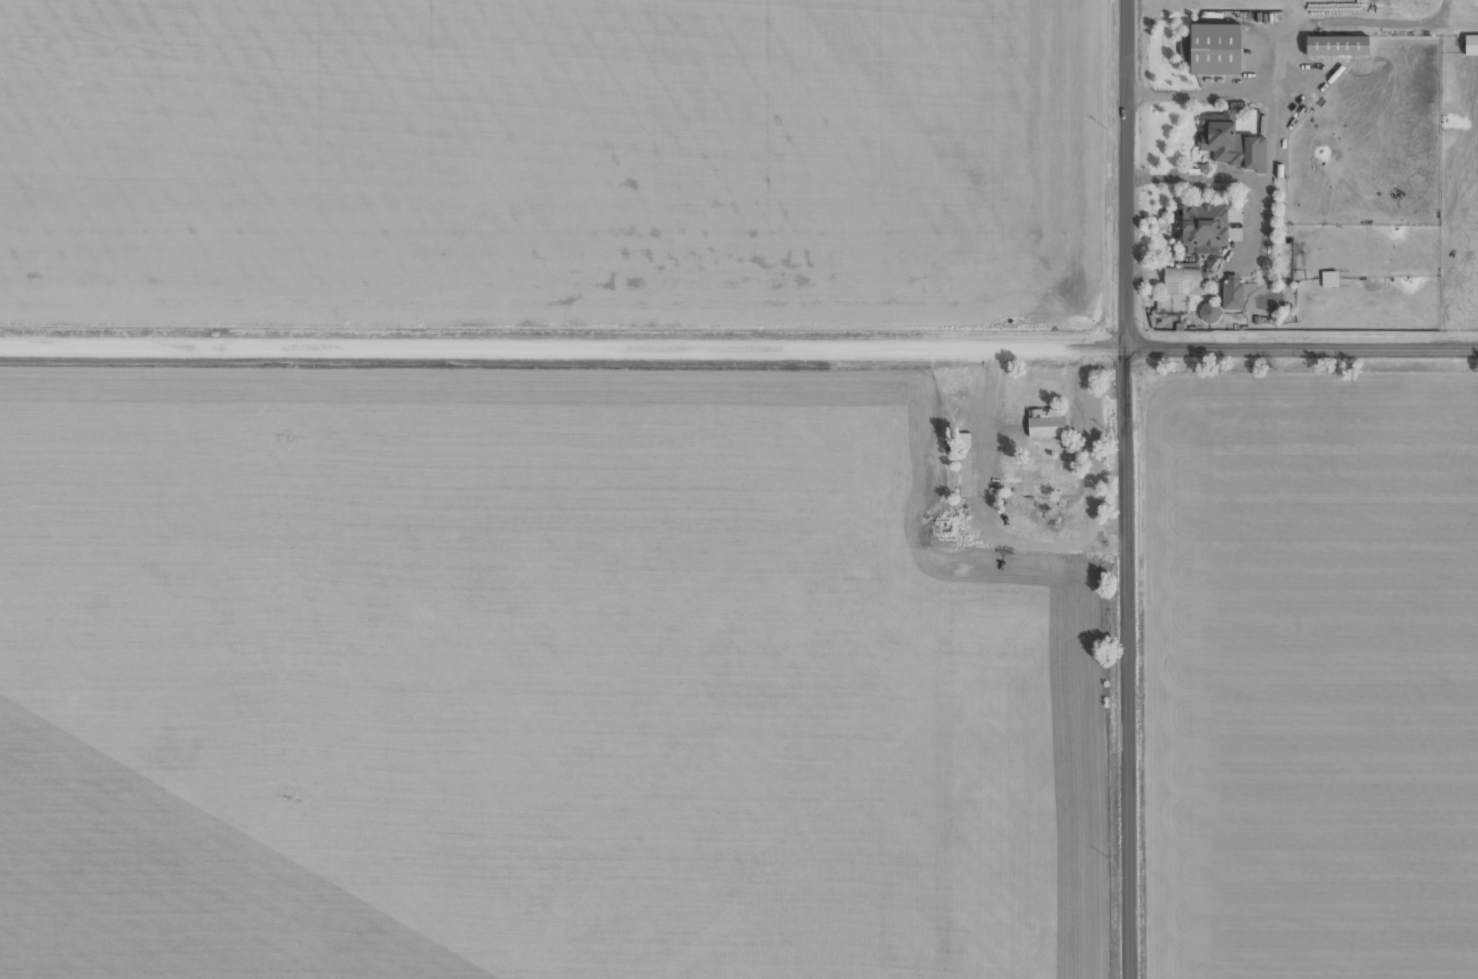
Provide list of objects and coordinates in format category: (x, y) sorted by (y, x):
building: (1336, 45)
building: (1184, 49)
building: (1212, 49)
road: (1264, 63)
building: (1220, 138)
road: (1263, 138)
road: (1262, 224)
building: (1203, 226)
building: (1179, 282)
building: (1231, 294)
building: (1208, 312)
road: (739, 347)
building: (1046, 422)
road: (1127, 489)

